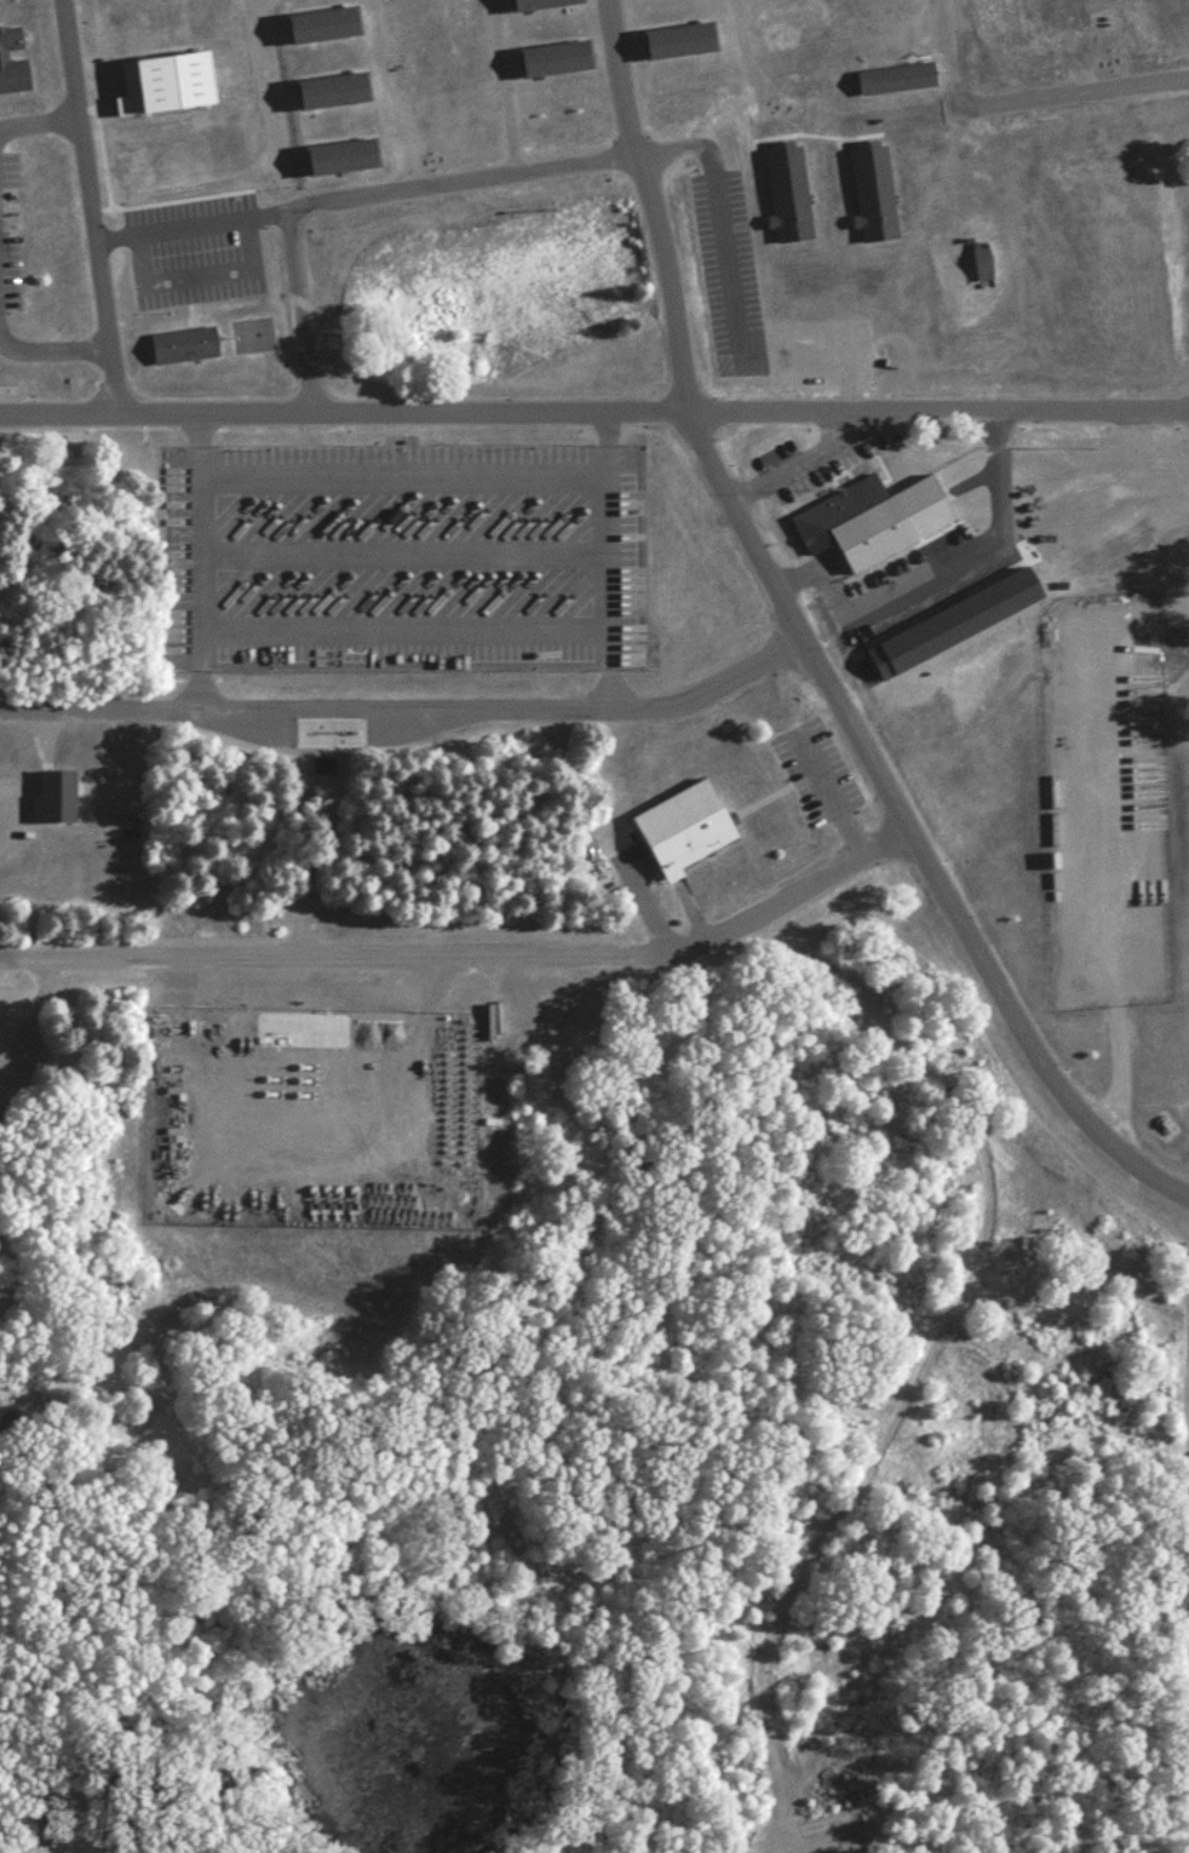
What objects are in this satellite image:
building: (541, 5)
building: (322, 28)
building: (679, 40)
building: (1155, 41)
road: (946, 56)
building: (556, 59)
building: (1028, 59)
building: (12, 64)
road: (745, 68)
building: (897, 80)
building: (160, 81)
road: (501, 86)
building: (334, 93)
road: (384, 96)
road: (36, 120)
road: (638, 151)
building: (343, 157)
building: (896, 163)
building: (785, 193)
building: (869, 193)
road: (281, 205)
road: (85, 206)
parking lot: (8, 231)
park: (252, 337)
road: (52, 346)
building: (184, 346)
road: (594, 411)
road: (806, 460)
road: (401, 476)
building: (850, 534)
road: (401, 551)
road: (605, 557)
road: (197, 558)
parking lot: (403, 560)
road: (915, 579)
road: (402, 626)
road: (803, 647)
road: (407, 706)
parking lot: (816, 773)
building: (51, 794)
building: (685, 828)
road: (1108, 845)
road: (469, 950)
road: (866, 1009)
road: (27, 1014)
road: (849, 1480)
road: (1105, 1845)

